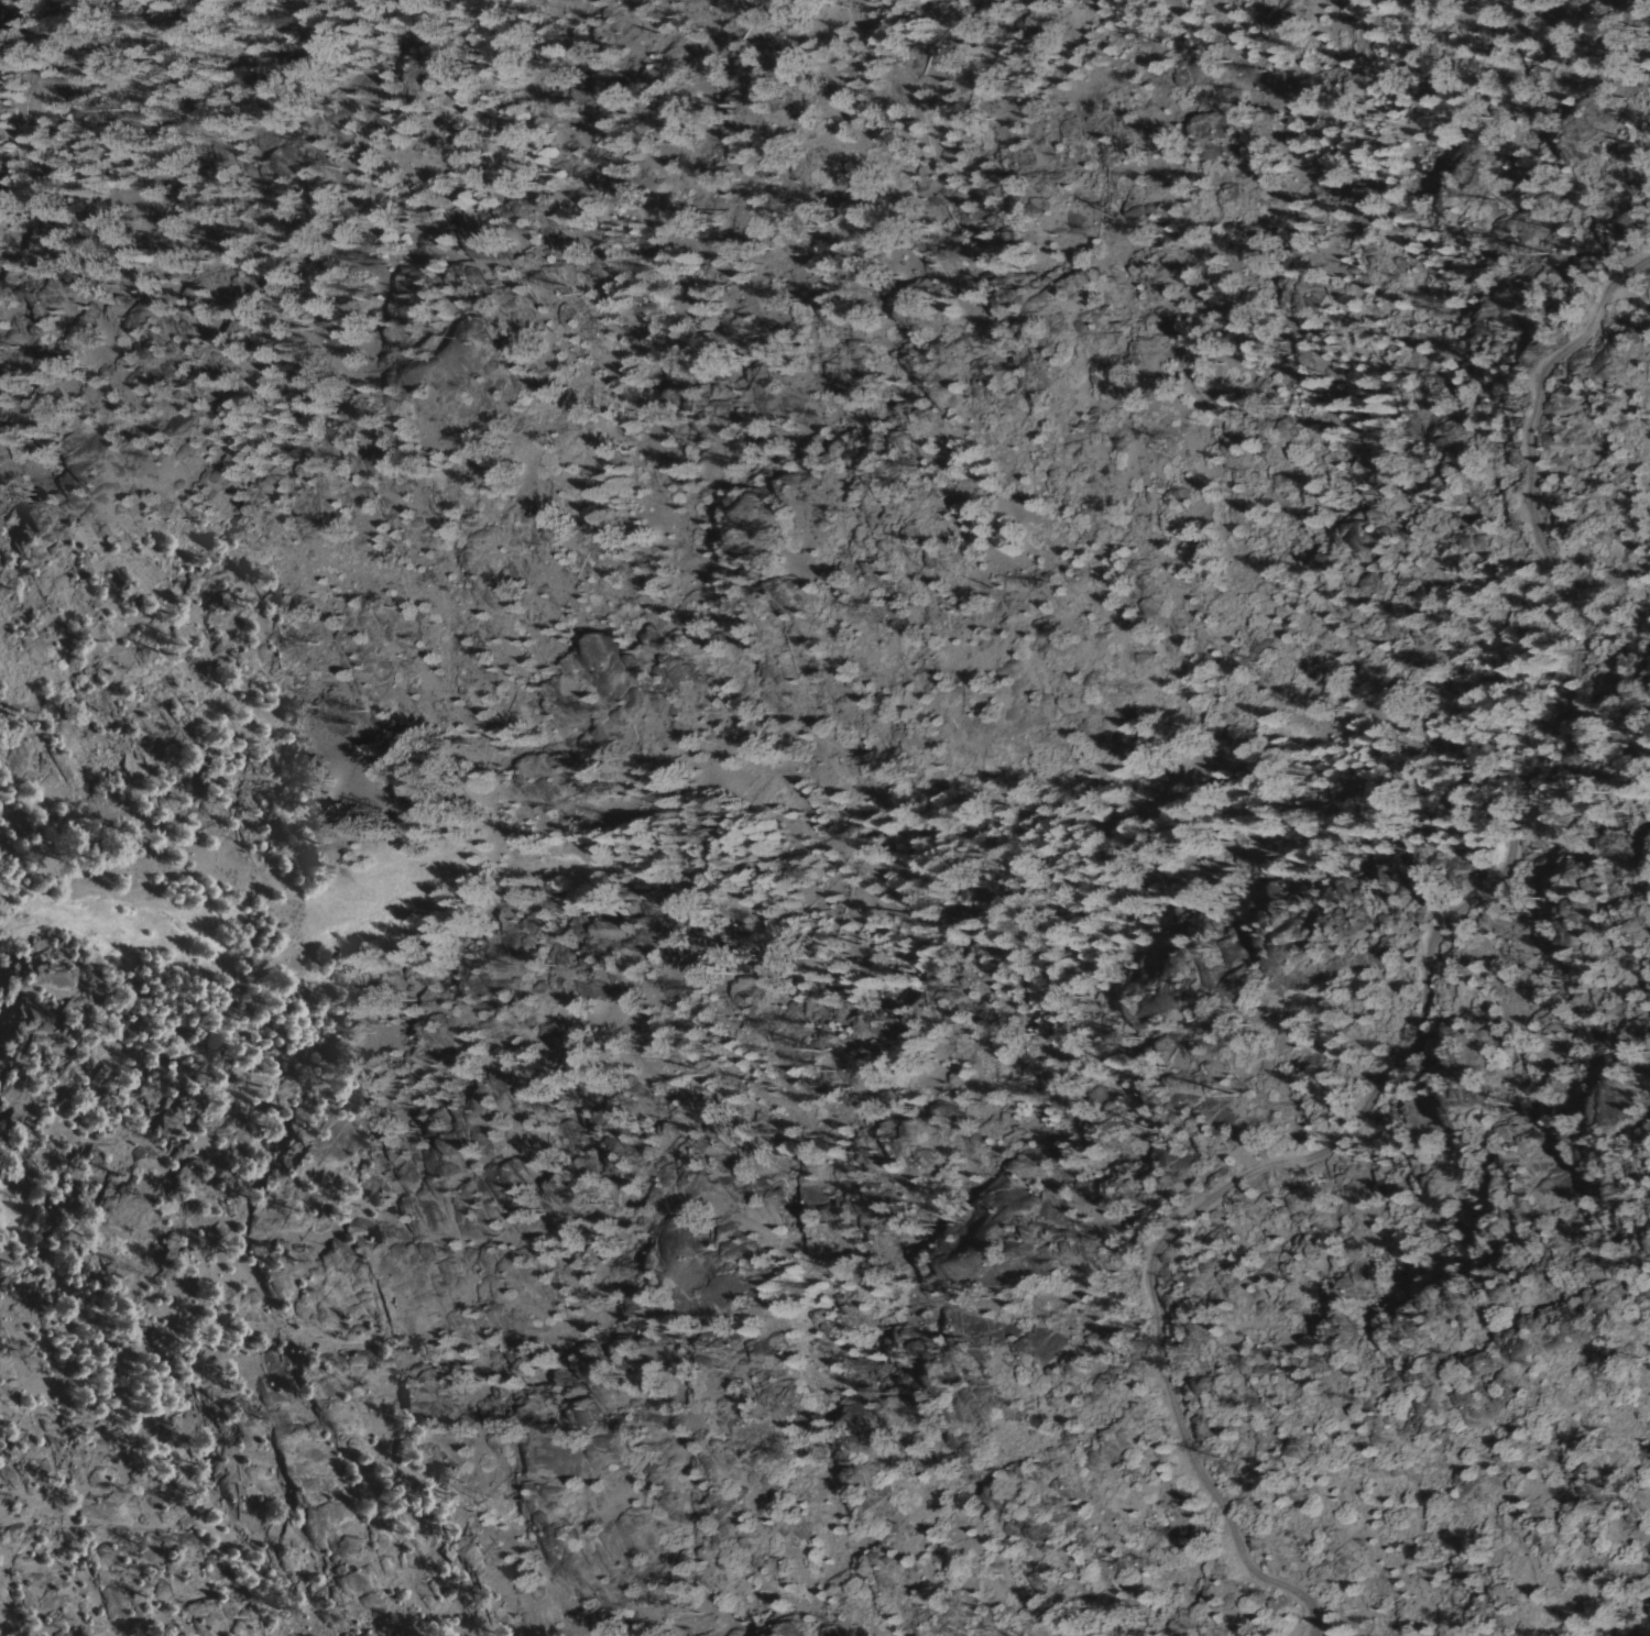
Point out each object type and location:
road: (1418, 987)

